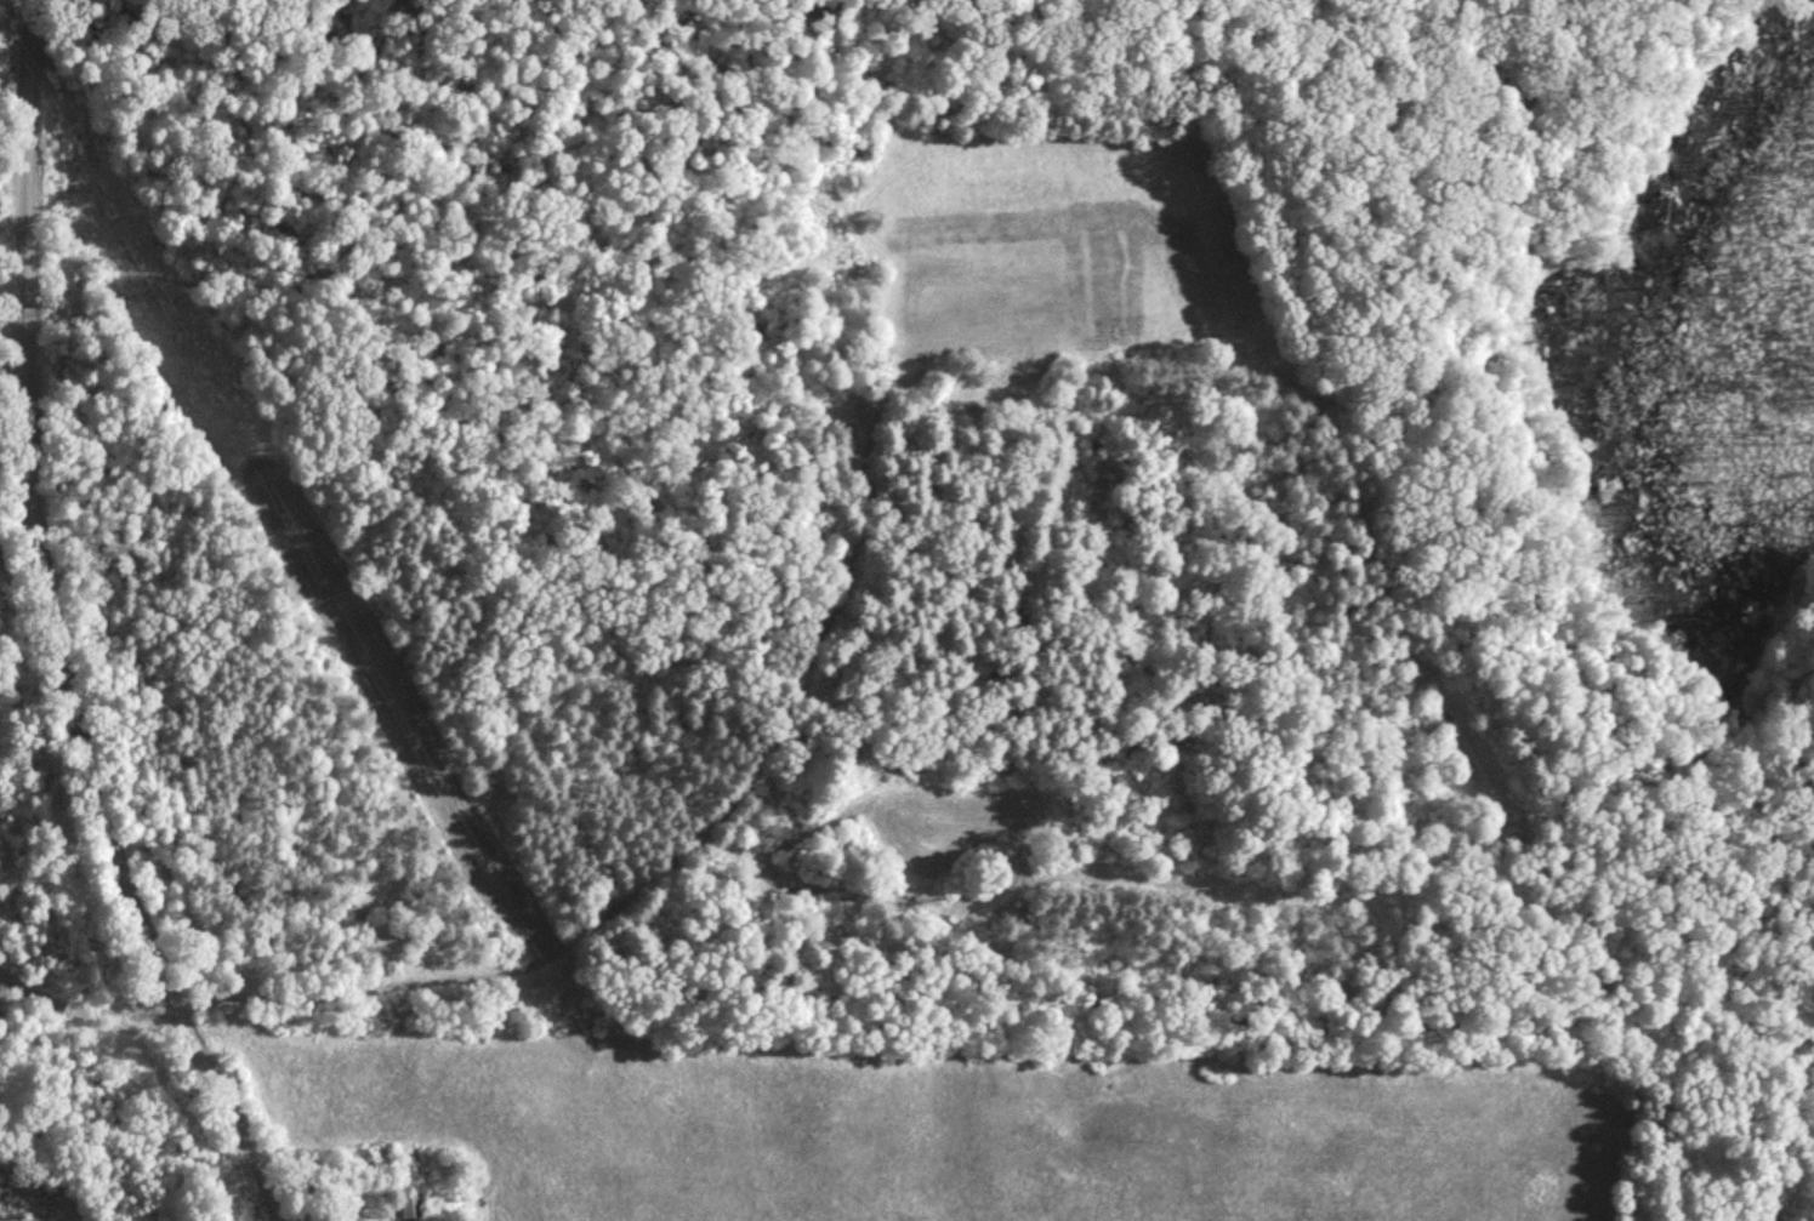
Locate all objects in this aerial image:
road: (15, 173)
road: (56, 632)
road: (656, 871)
road: (81, 1009)
building: (411, 1208)

